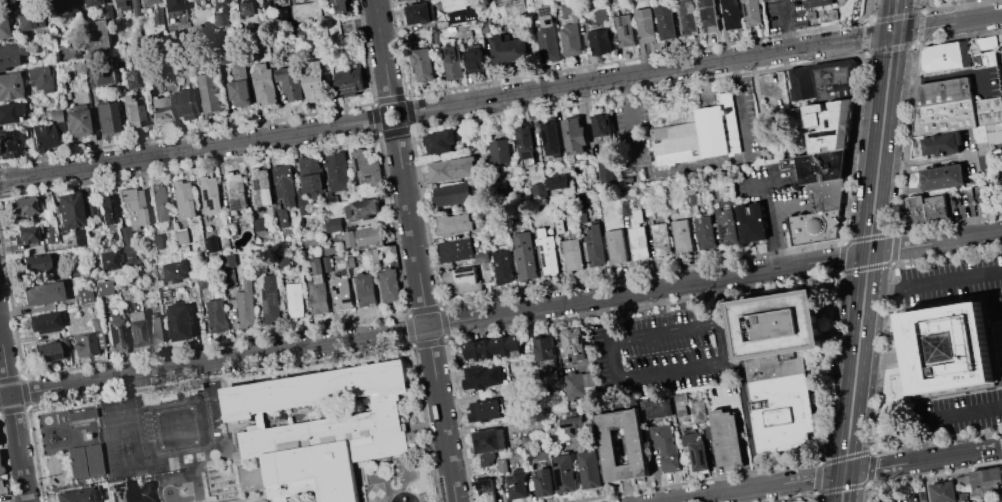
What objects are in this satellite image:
building: (195, 0)
building: (400, 0)
building: (0, 1)
building: (145, 2)
building: (819, 2)
building: (87, 3)
building: (118, 5)
building: (267, 5)
building: (341, 6)
building: (61, 8)
building: (133, 8)
building: (249, 8)
building: (514, 8)
building: (170, 10)
building: (306, 11)
rooftop solar panel: (545, 11)
building: (750, 12)
building: (105, 13)
building: (419, 13)
building: (283, 14)
building: (463, 14)
rooftop solar panel: (704, 14)
building: (730, 14)
parking lot: (786, 14)
building: (597, 15)
building: (707, 15)
road: (895, 16)
building: (688, 17)
building: (28, 19)
building: (220, 19)
rooftop solar panel: (620, 20)
building: (665, 22)
road: (947, 23)
building: (645, 24)
road: (787, 26)
building: (2, 27)
building: (296, 27)
rooftop solar panel: (627, 28)
building: (289, 30)
building: (464, 31)
building: (626, 31)
traffic signals: (893, 33)
building: (548, 34)
building: (437, 36)
building: (570, 37)
building: (92, 39)
building: (600, 40)
building: (986, 42)
rooftop solar panel: (448, 49)
building: (508, 49)
building: (224, 50)
road: (383, 52)
building: (64, 53)
building: (10, 54)
building: (944, 56)
building: (475, 59)
building: (984, 59)
building: (452, 61)
building: (423, 63)
building: (97, 72)
road: (647, 72)
road: (946, 75)
building: (162, 78)
building: (834, 78)
building: (131, 79)
building: (37, 80)
building: (315, 81)
building: (349, 82)
building: (801, 82)
building: (264, 83)
building: (289, 83)
rooftop solar panel: (351, 84)
building: (238, 85)
building: (9, 86)
building: (943, 91)
building: (210, 93)
building: (187, 103)
building: (161, 108)
building: (987, 110)
road: (402, 111)
building: (10, 112)
building: (132, 112)
building: (54, 116)
building: (104, 117)
building: (943, 117)
building: (74, 122)
building: (601, 124)
building: (828, 125)
building: (692, 129)
rooftop solar panel: (824, 131)
rooftop solar panel: (545, 135)
building: (574, 135)
building: (42, 137)
building: (550, 138)
building: (441, 141)
building: (526, 142)
building: (943, 143)
building: (9, 144)
road: (191, 149)
building: (500, 151)
rooftop solar panel: (525, 155)
rooftop solar panel: (359, 162)
road: (694, 166)
building: (821, 166)
building: (365, 168)
building: (453, 169)
building: (338, 170)
rooftop solar panel: (358, 172)
building: (311, 173)
building: (606, 173)
rooftop solar panel: (369, 174)
building: (941, 177)
rooftop solar panel: (367, 179)
building: (555, 181)
rooftop solar panel: (258, 182)
building: (261, 185)
building: (284, 185)
building: (539, 190)
building: (236, 191)
building: (210, 193)
building: (452, 193)
building: (825, 194)
rooftop solar panel: (208, 196)
building: (984, 197)
building: (185, 198)
building: (160, 203)
rooftop solar panel: (236, 204)
building: (18, 207)
building: (648, 207)
building: (362, 208)
building: (926, 208)
building: (105, 209)
building: (67, 210)
building: (283, 217)
building: (131, 218)
road: (778, 221)
building: (453, 222)
building: (752, 222)
building: (259, 224)
building: (333, 224)
road: (769, 224)
building: (726, 225)
building: (813, 225)
building: (232, 228)
rooftop solar panel: (723, 230)
building: (705, 232)
building: (24, 235)
building: (182, 235)
building: (363, 236)
building: (682, 236)
building: (78, 237)
building: (638, 237)
building: (661, 239)
building: (157, 241)
building: (594, 244)
building: (616, 245)
rooftop solar panel: (541, 247)
building: (330, 250)
building: (455, 250)
building: (547, 250)
rooftop solar panel: (541, 253)
building: (523, 254)
building: (571, 254)
building: (375, 255)
building: (482, 256)
building: (106, 259)
rooftop solar panel: (543, 260)
building: (32, 263)
building: (327, 263)
building: (503, 266)
rooftop solar panel: (467, 267)
road: (866, 267)
building: (175, 270)
rooftop solar panel: (466, 272)
building: (227, 275)
building: (465, 278)
building: (203, 281)
road: (932, 282)
building: (389, 285)
building: (101, 287)
building: (318, 289)
building: (365, 289)
building: (340, 293)
building: (40, 294)
building: (83, 295)
building: (270, 299)
rooftop solar panel: (275, 300)
building: (295, 300)
road: (836, 304)
rooftop solar panel: (267, 305)
building: (245, 306)
road: (500, 313)
road: (425, 314)
building: (217, 315)
building: (180, 321)
building: (41, 323)
building: (155, 329)
rooftop solar panel: (132, 331)
road: (669, 331)
building: (135, 332)
building: (113, 333)
road: (612, 337)
building: (572, 344)
building: (83, 345)
building: (948, 347)
parking lot: (998, 347)
building: (492, 348)
road: (782, 348)
building: (545, 350)
parking lot: (666, 350)
building: (43, 352)
road: (399, 353)
road: (737, 355)
rooftop solar panel: (50, 356)
building: (779, 364)
road: (251, 370)
road: (674, 370)
building: (483, 375)
road: (219, 378)
road: (743, 379)
building: (577, 384)
building: (369, 403)
building: (680, 404)
road: (50, 406)
building: (658, 407)
building: (489, 409)
building: (252, 410)
building: (698, 410)
road: (411, 411)
road: (966, 413)
building: (78, 414)
building: (279, 415)
road: (13, 416)
rooftop solar panel: (568, 422)
park: (120, 423)
track: (180, 424)
road: (413, 424)
park: (175, 426)
building: (574, 427)
rooftop solar panel: (575, 427)
building: (726, 436)
building: (489, 439)
building: (525, 440)
road: (240, 443)
building: (607, 446)
building: (665, 448)
building: (695, 451)
building: (528, 452)
park: (199, 455)
rooftop solar panel: (696, 455)
rooftop solar panel: (704, 455)
park: (186, 457)
building: (91, 459)
road: (215, 460)
building: (74, 462)
park: (126, 462)
rooftop solar panel: (557, 462)
building: (480, 463)
building: (589, 468)
road: (55, 470)
building: (312, 472)
building: (564, 473)
traffic signals: (843, 473)
road: (835, 474)
rooftop solar panel: (560, 475)
park: (176, 477)
park: (163, 479)
building: (986, 480)
road: (183, 482)
building: (543, 482)
road: (361, 483)
building: (516, 484)
road: (260, 486)
rooftop solar panel: (114, 488)
building: (1, 489)
building: (484, 490)
building: (115, 491)
building: (947, 492)
rooftop solar panel: (92, 494)
building: (77, 495)
rooftop solar panel: (111, 498)
rooftop solar panel: (122, 498)
road: (304, 498)
parking lot: (284, 499)
park: (259, 500)
building: (801, 501)
building: (1000, 501)

